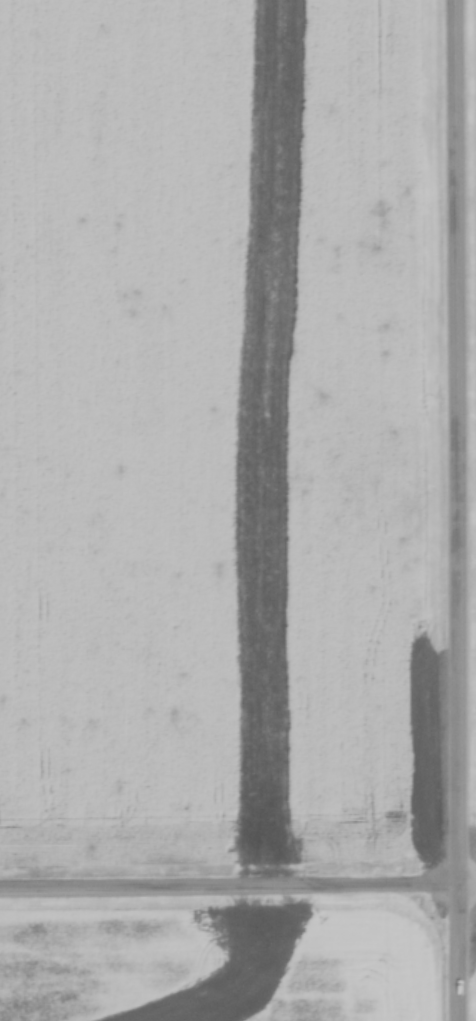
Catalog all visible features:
road: (462, 445)
road: (470, 889)
road: (232, 892)
road: (464, 955)

